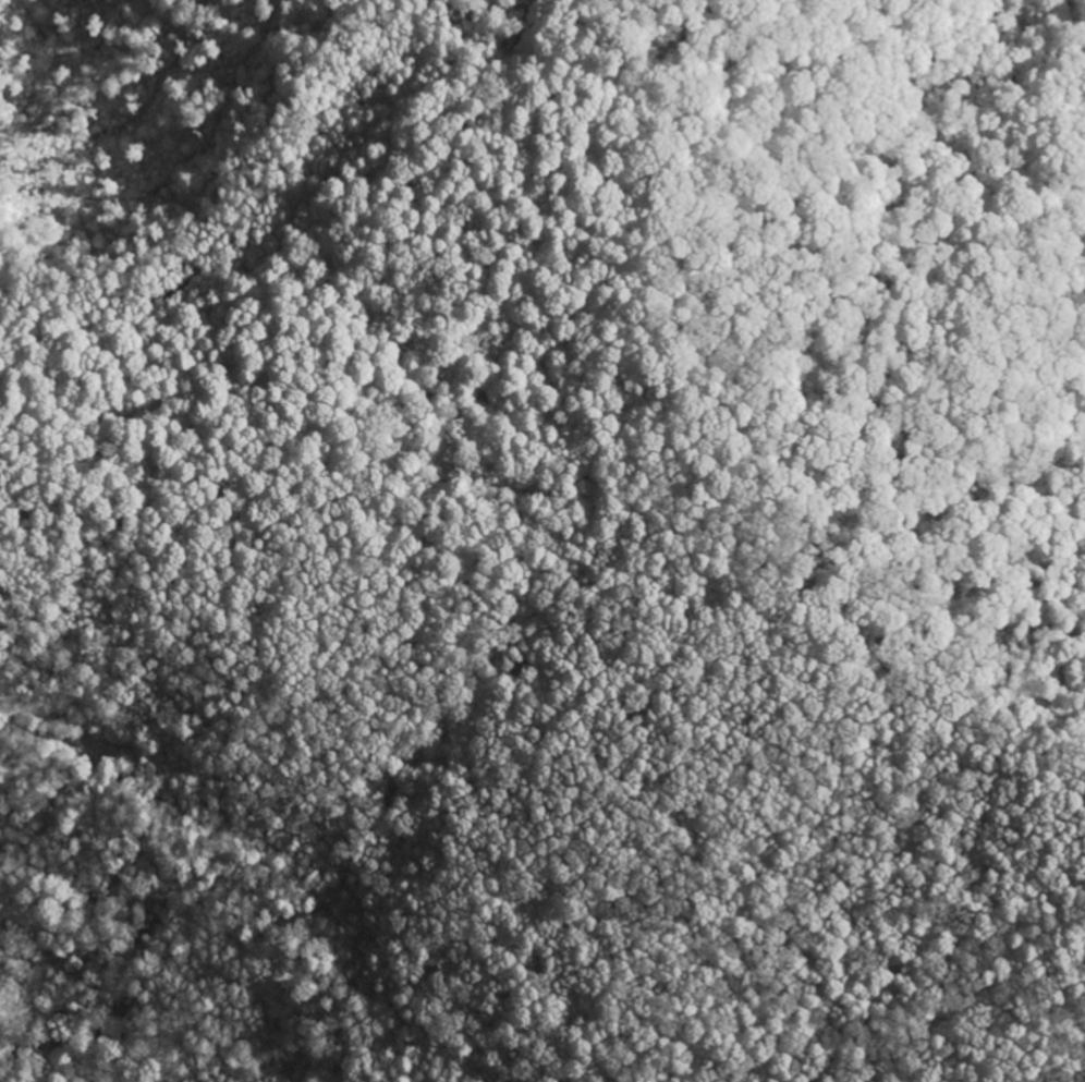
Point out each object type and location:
road: (998, 39)
road: (951, 158)

